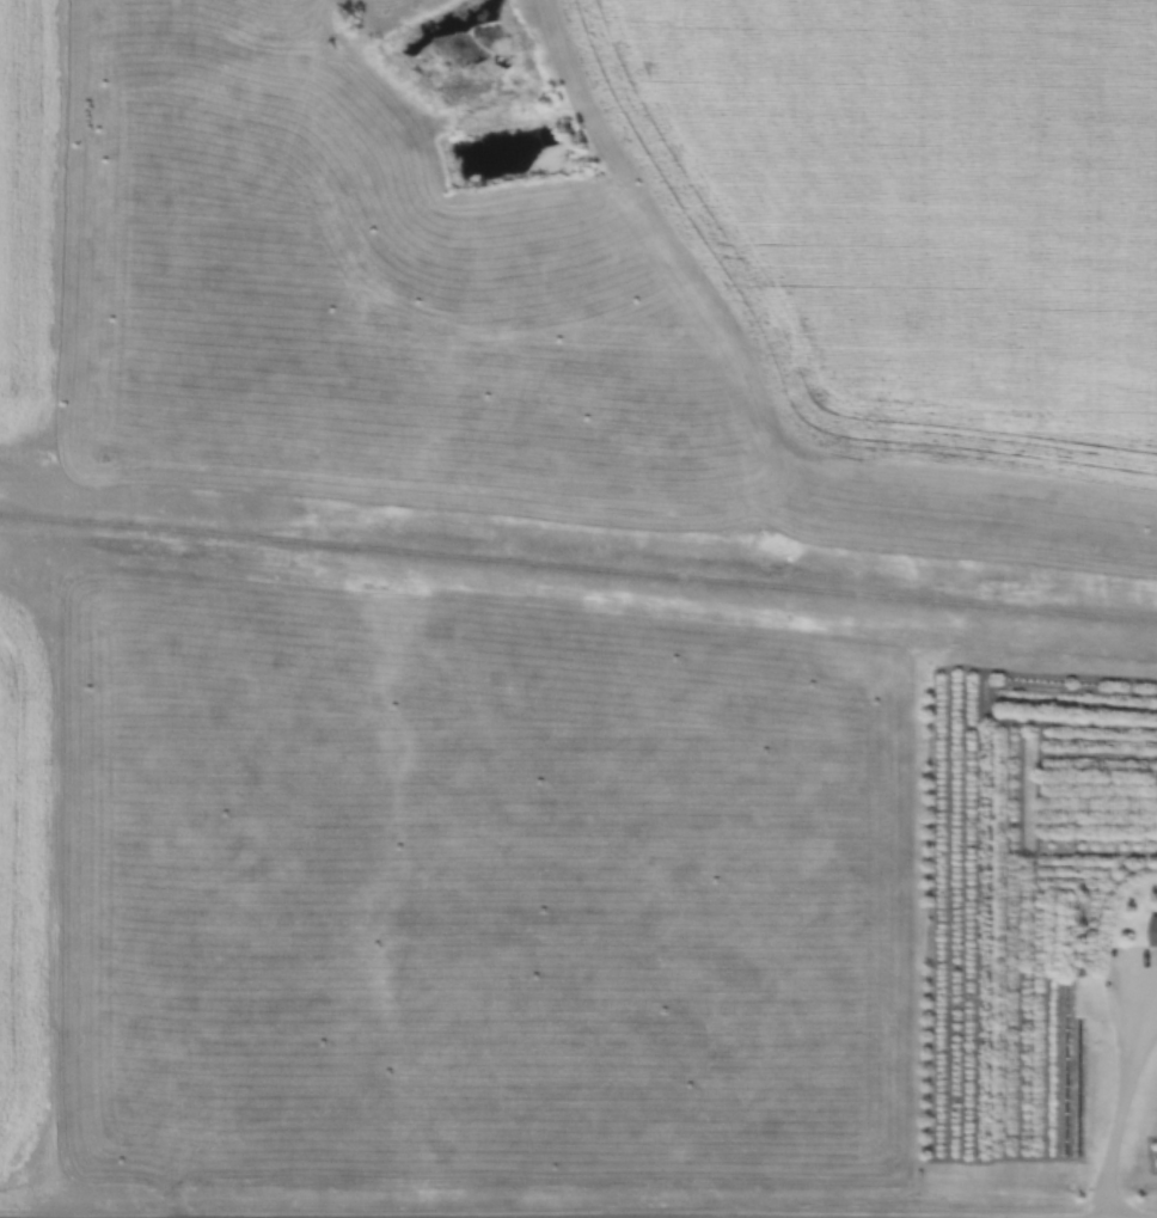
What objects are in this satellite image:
railway: (578, 555)
building: (1153, 934)
road: (1120, 1097)

